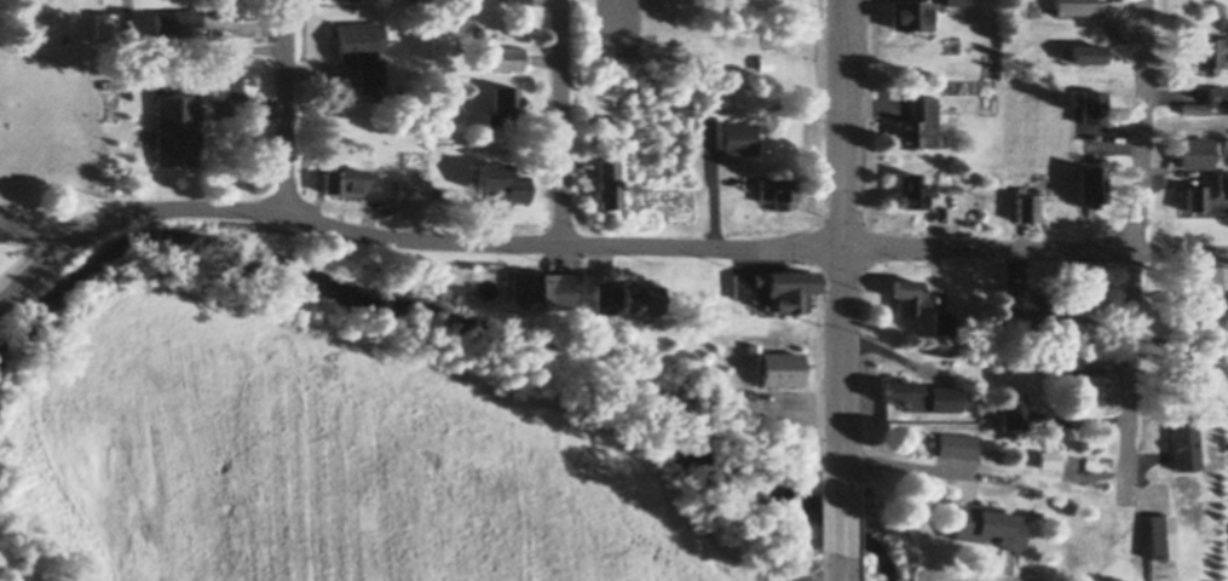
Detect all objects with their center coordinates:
building: (519, 0)
building: (1072, 4)
building: (911, 12)
building: (178, 19)
building: (105, 21)
building: (615, 27)
park: (698, 35)
building: (1086, 44)
building: (1205, 45)
building: (363, 50)
building: (1083, 53)
building: (507, 56)
building: (765, 61)
building: (117, 63)
building: (632, 88)
building: (1217, 88)
building: (503, 100)
building: (1092, 100)
building: (1193, 103)
road: (286, 108)
road: (564, 121)
building: (921, 123)
building: (174, 125)
park: (42, 126)
building: (709, 131)
building: (740, 137)
building: (1195, 145)
building: (342, 174)
building: (500, 174)
building: (949, 174)
building: (609, 180)
building: (1092, 182)
building: (411, 188)
building: (778, 188)
building: (915, 188)
building: (1207, 188)
building: (1030, 203)
road: (844, 240)
road: (625, 242)
road: (1136, 251)
building: (777, 284)
building: (540, 286)
road: (21, 287)
building: (910, 293)
building: (605, 294)
building: (641, 294)
building: (1083, 299)
building: (1198, 304)
building: (1030, 305)
building: (1227, 315)
building: (944, 321)
building: (753, 344)
building: (1103, 352)
building: (1182, 361)
building: (779, 364)
building: (919, 392)
building: (1014, 407)
building: (1183, 439)
building: (957, 444)
road: (841, 516)
building: (985, 520)
building: (1159, 530)
road: (842, 566)

